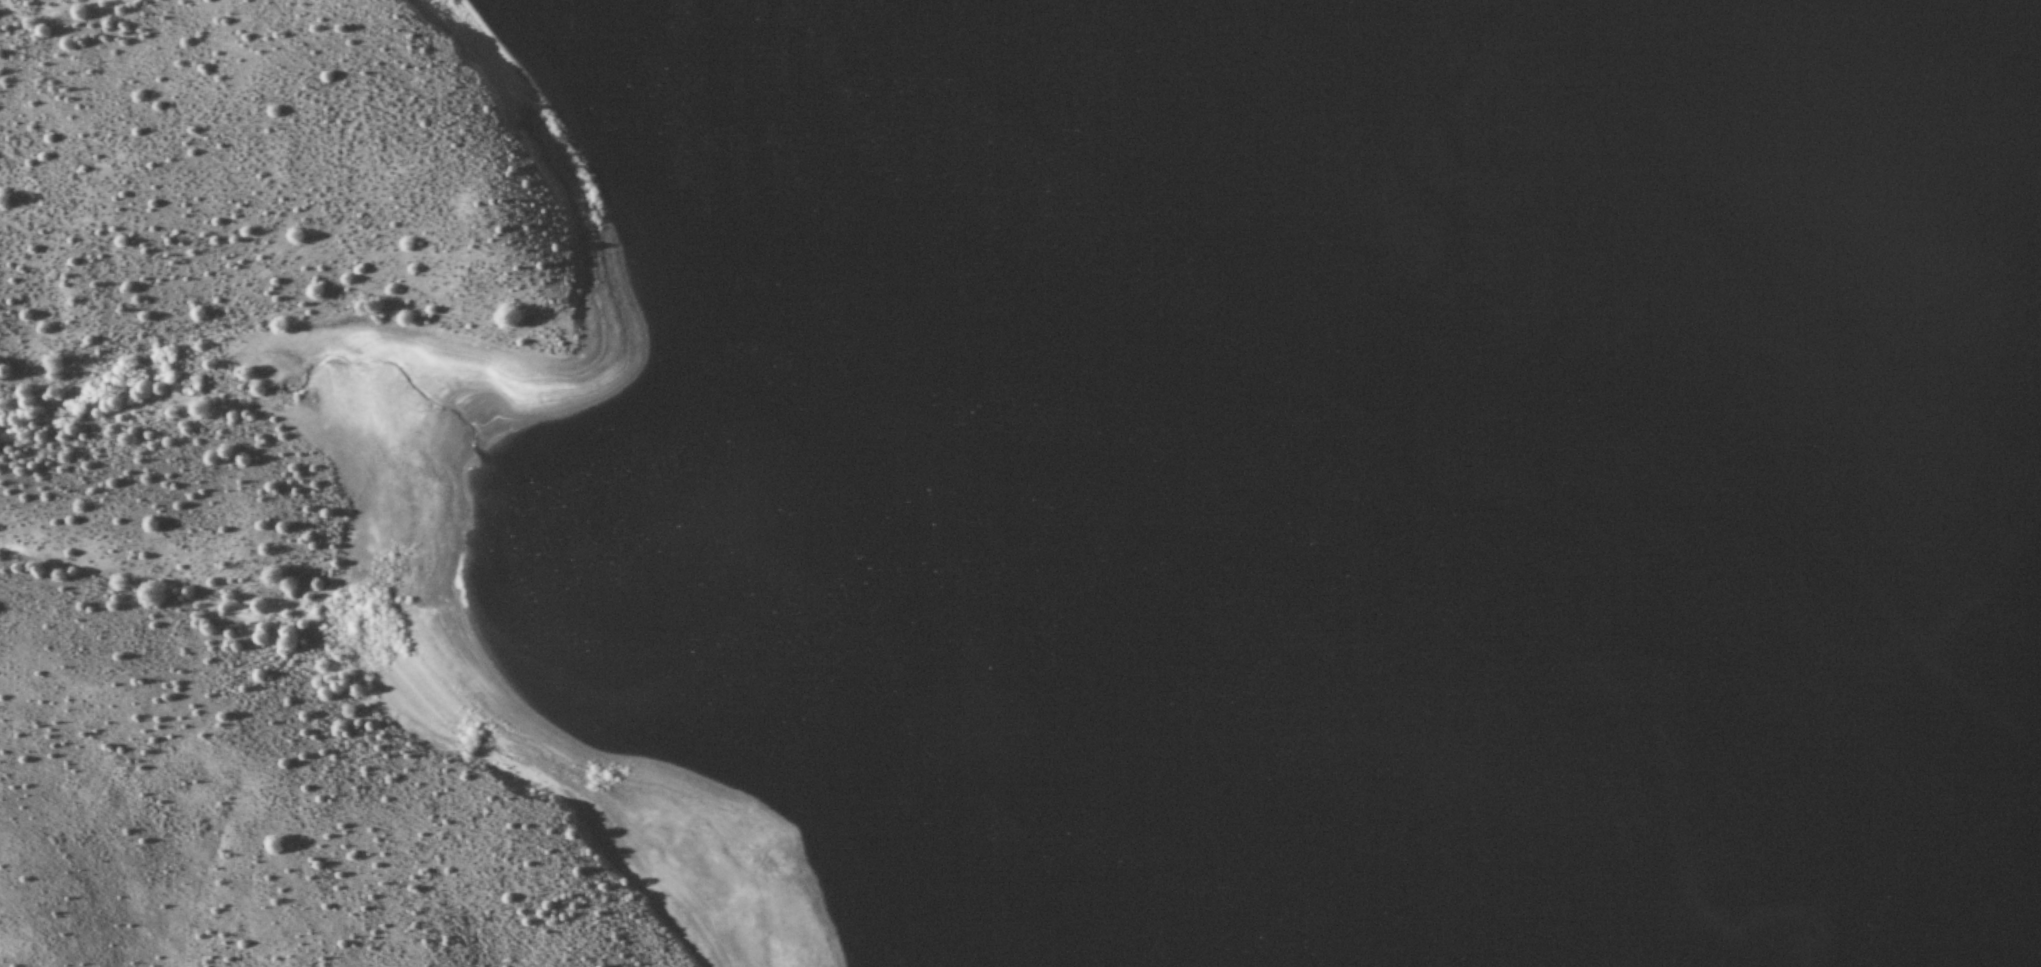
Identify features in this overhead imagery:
river: (2018, 444)
river: (2036, 758)

